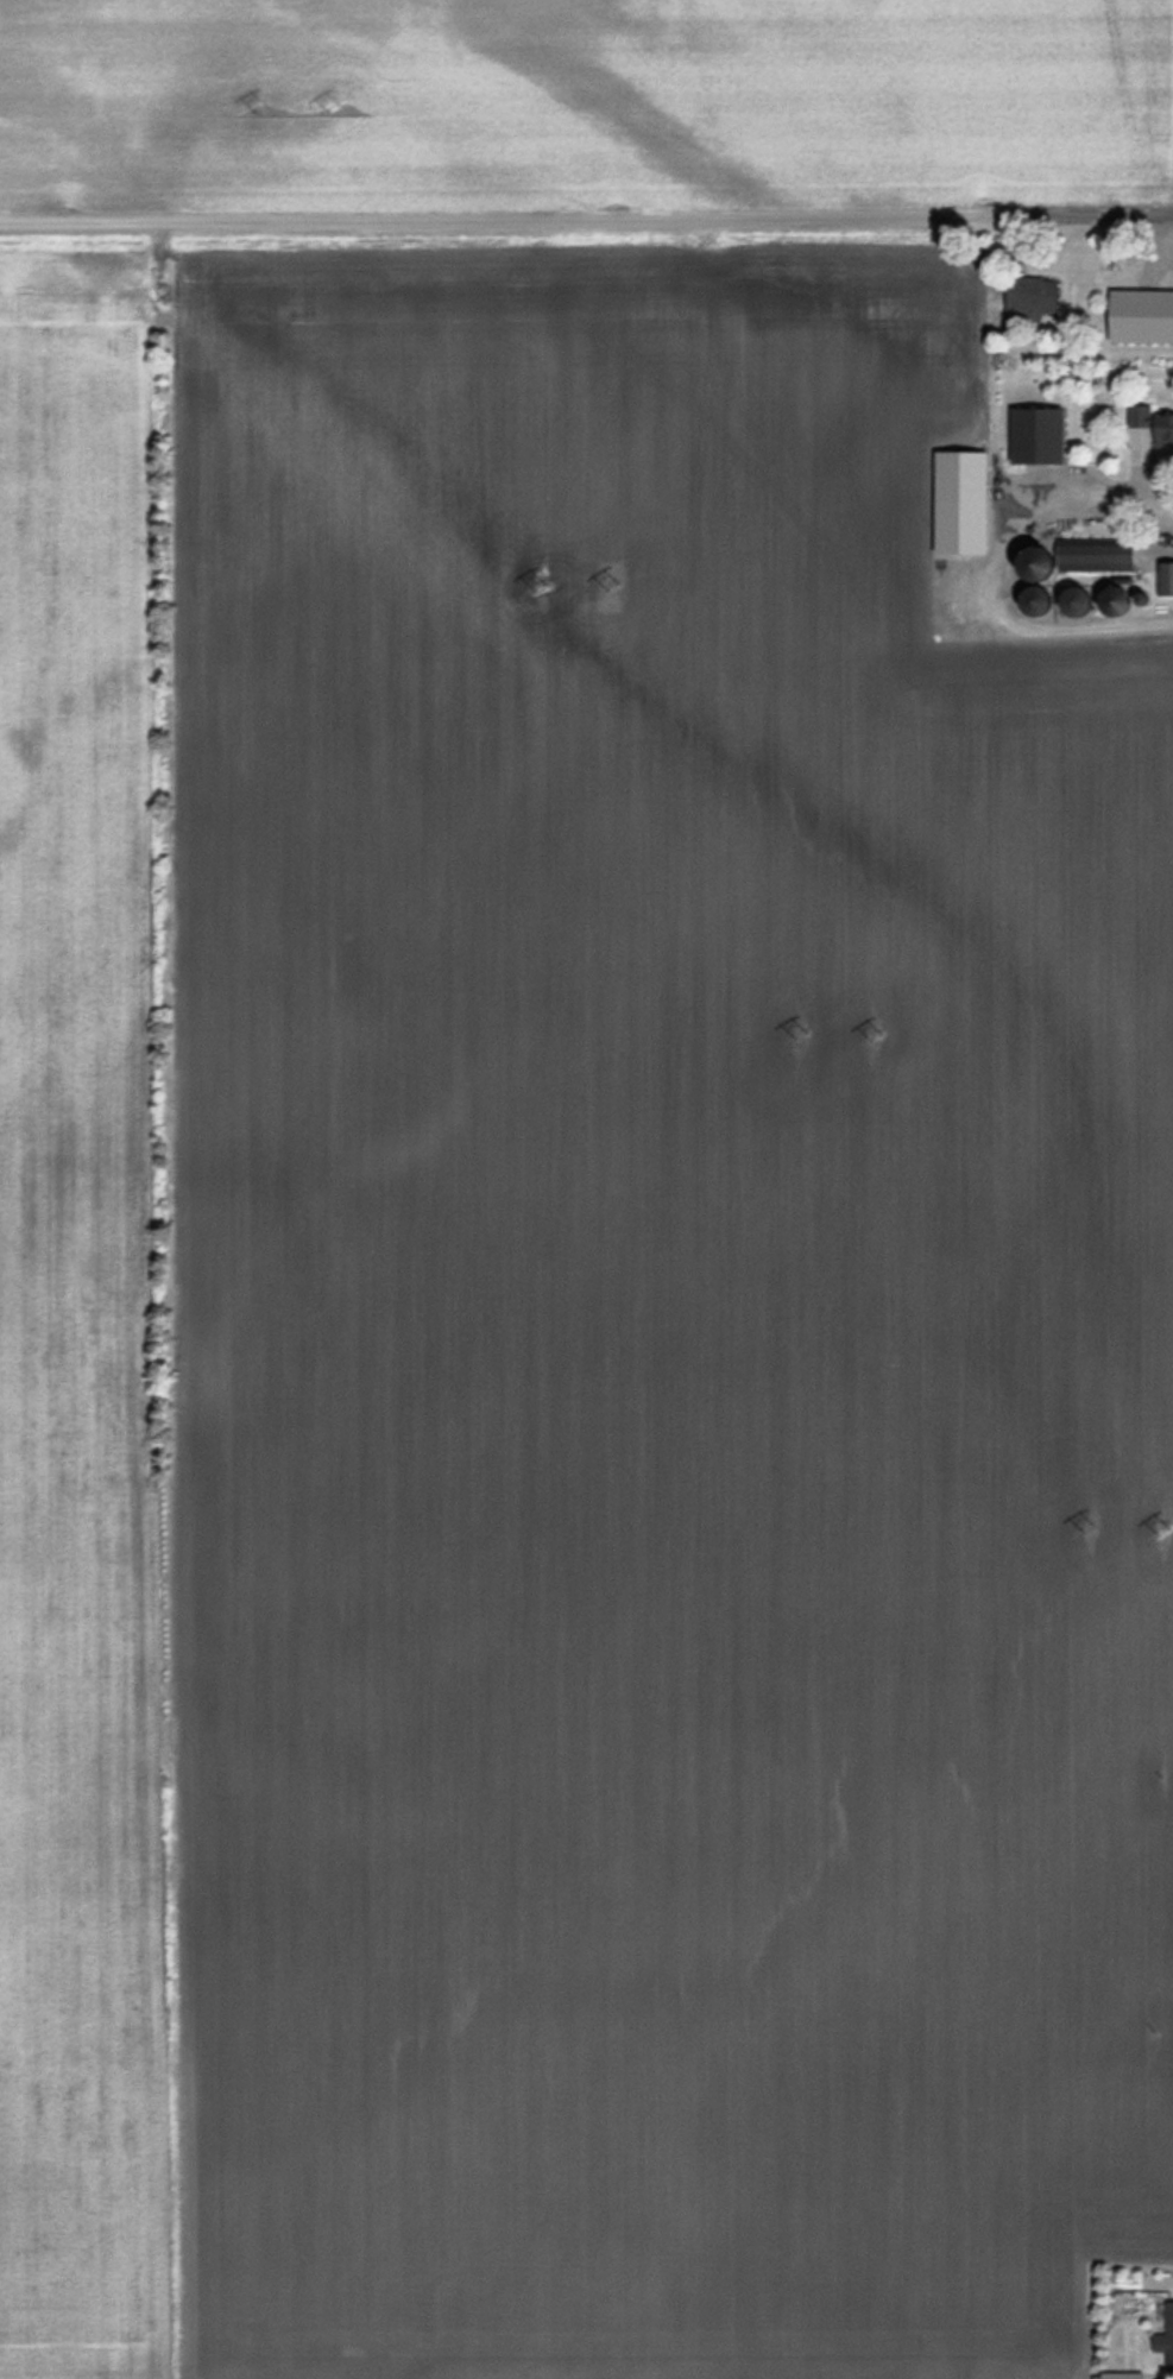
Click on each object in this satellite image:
power tower: (263, 107)
power tower: (339, 107)
road: (586, 228)
building: (1029, 296)
building: (1139, 315)
building: (1152, 423)
building: (1034, 434)
building: (1090, 554)
building: (1163, 576)
power tower: (613, 585)
power tower: (538, 586)
building: (1028, 599)
building: (1068, 599)
power tower: (878, 1033)
power tower: (801, 1036)
power tower: (1167, 1528)
power tower: (1085, 1531)
building: (1165, 2339)

